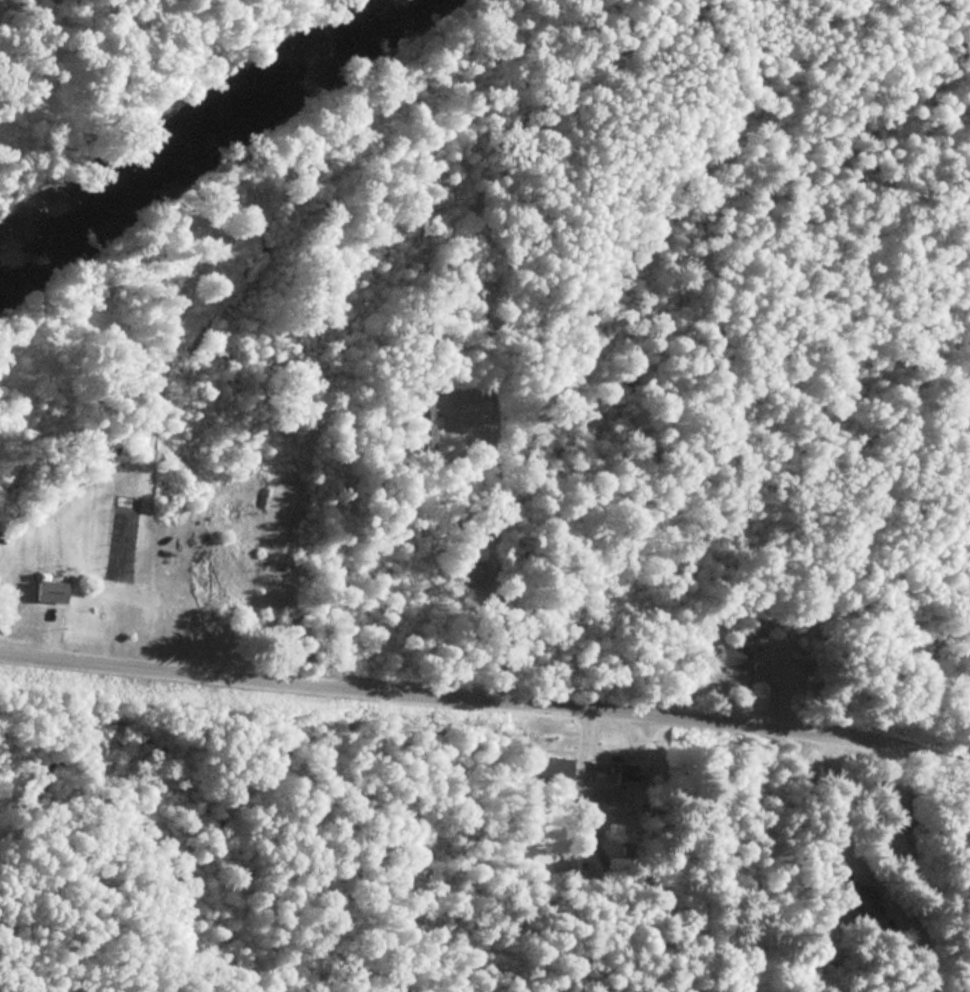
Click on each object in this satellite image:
park: (716, 119)
river: (221, 136)
building: (419, 420)
road: (489, 530)
building: (468, 573)
building: (45, 591)
building: (727, 655)
road: (487, 706)
building: (547, 766)
building: (625, 772)
park: (265, 837)
building: (857, 901)

